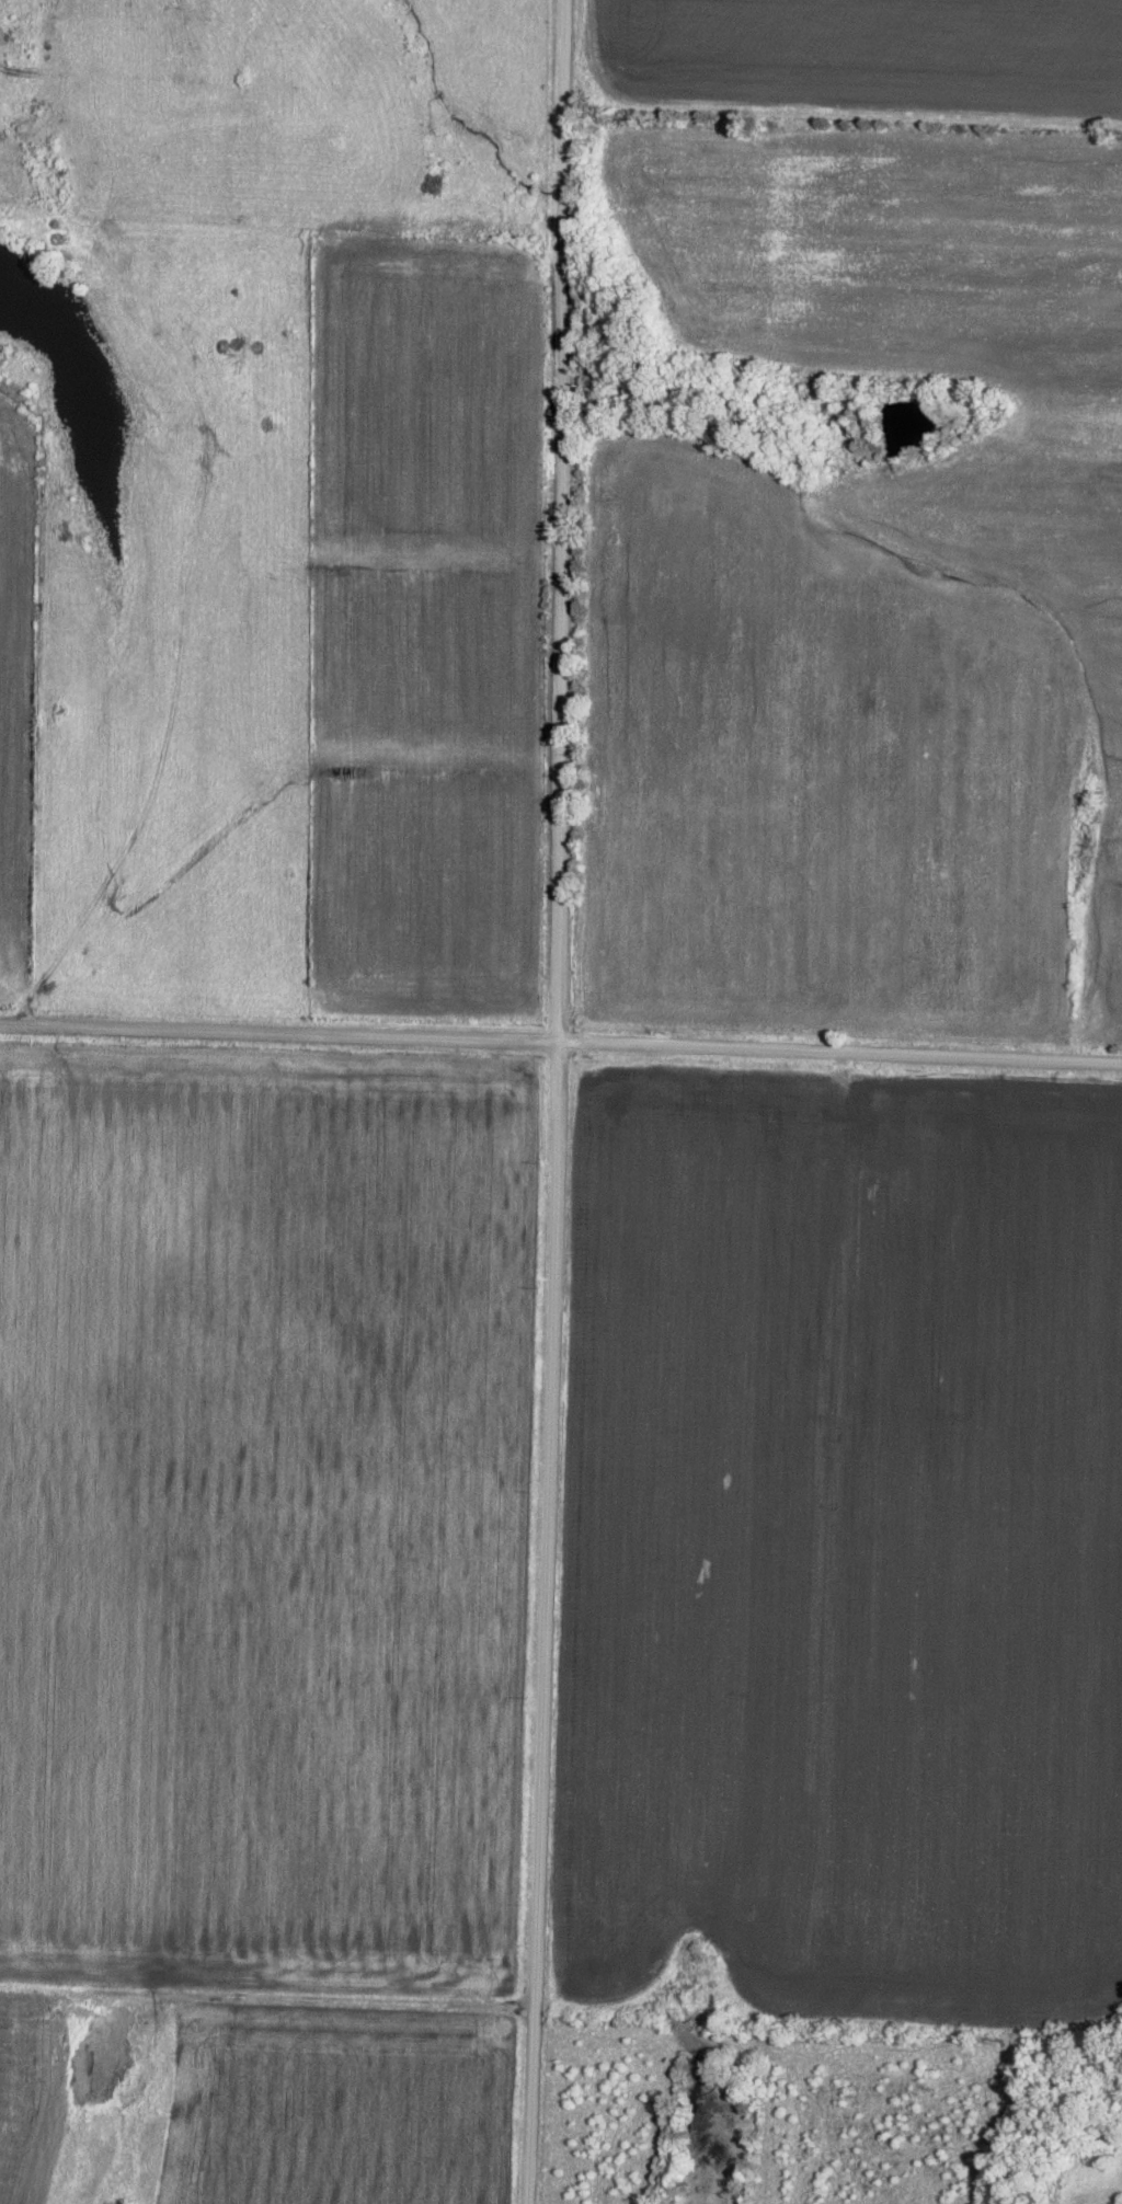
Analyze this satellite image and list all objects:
road: (561, 1044)
road: (561, 1102)

